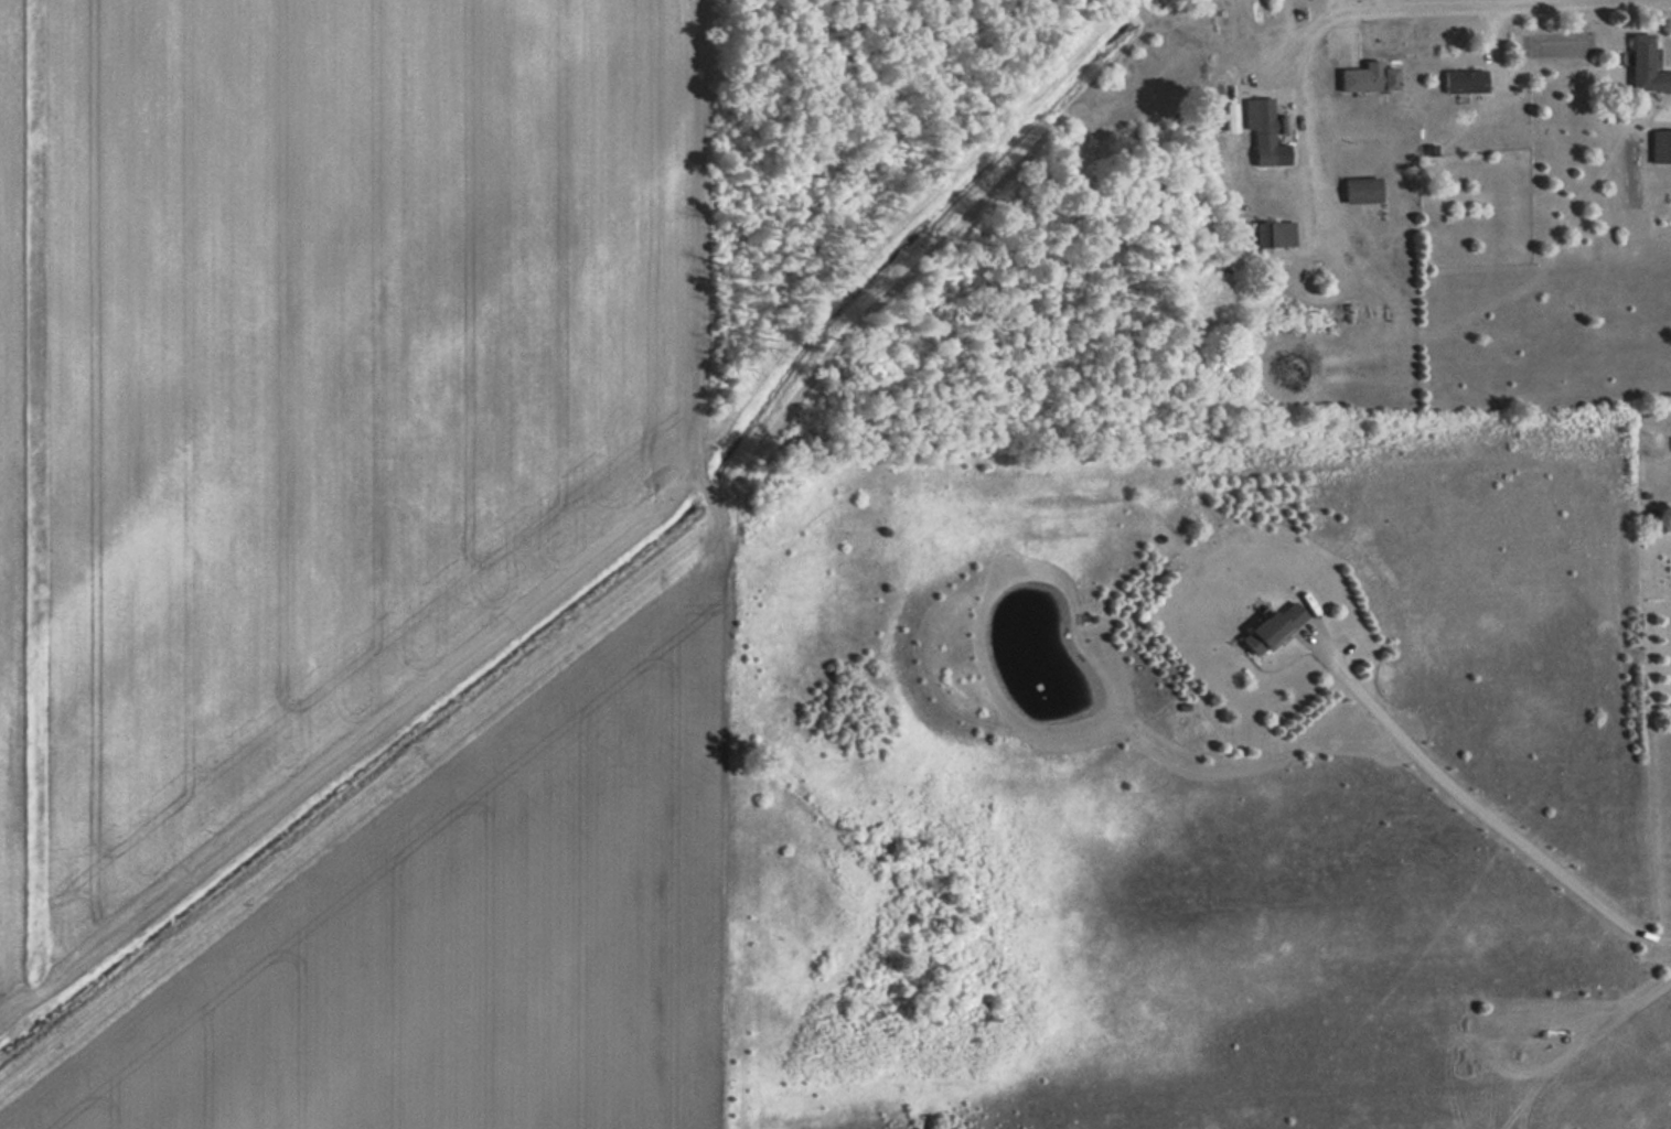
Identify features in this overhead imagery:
road: (1452, 4)
building: (1643, 66)
building: (1364, 77)
building: (1463, 79)
building: (1659, 146)
building: (1262, 154)
building: (1358, 190)
building: (1258, 234)
building: (1267, 627)
road: (1470, 803)

